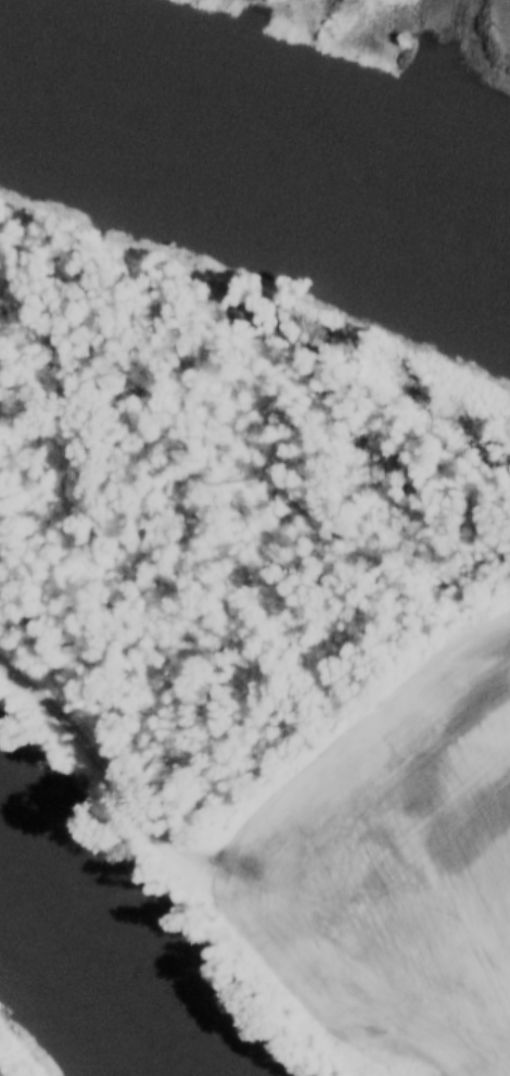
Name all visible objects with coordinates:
river: (255, 188)
road: (120, 787)
river: (81, 997)

